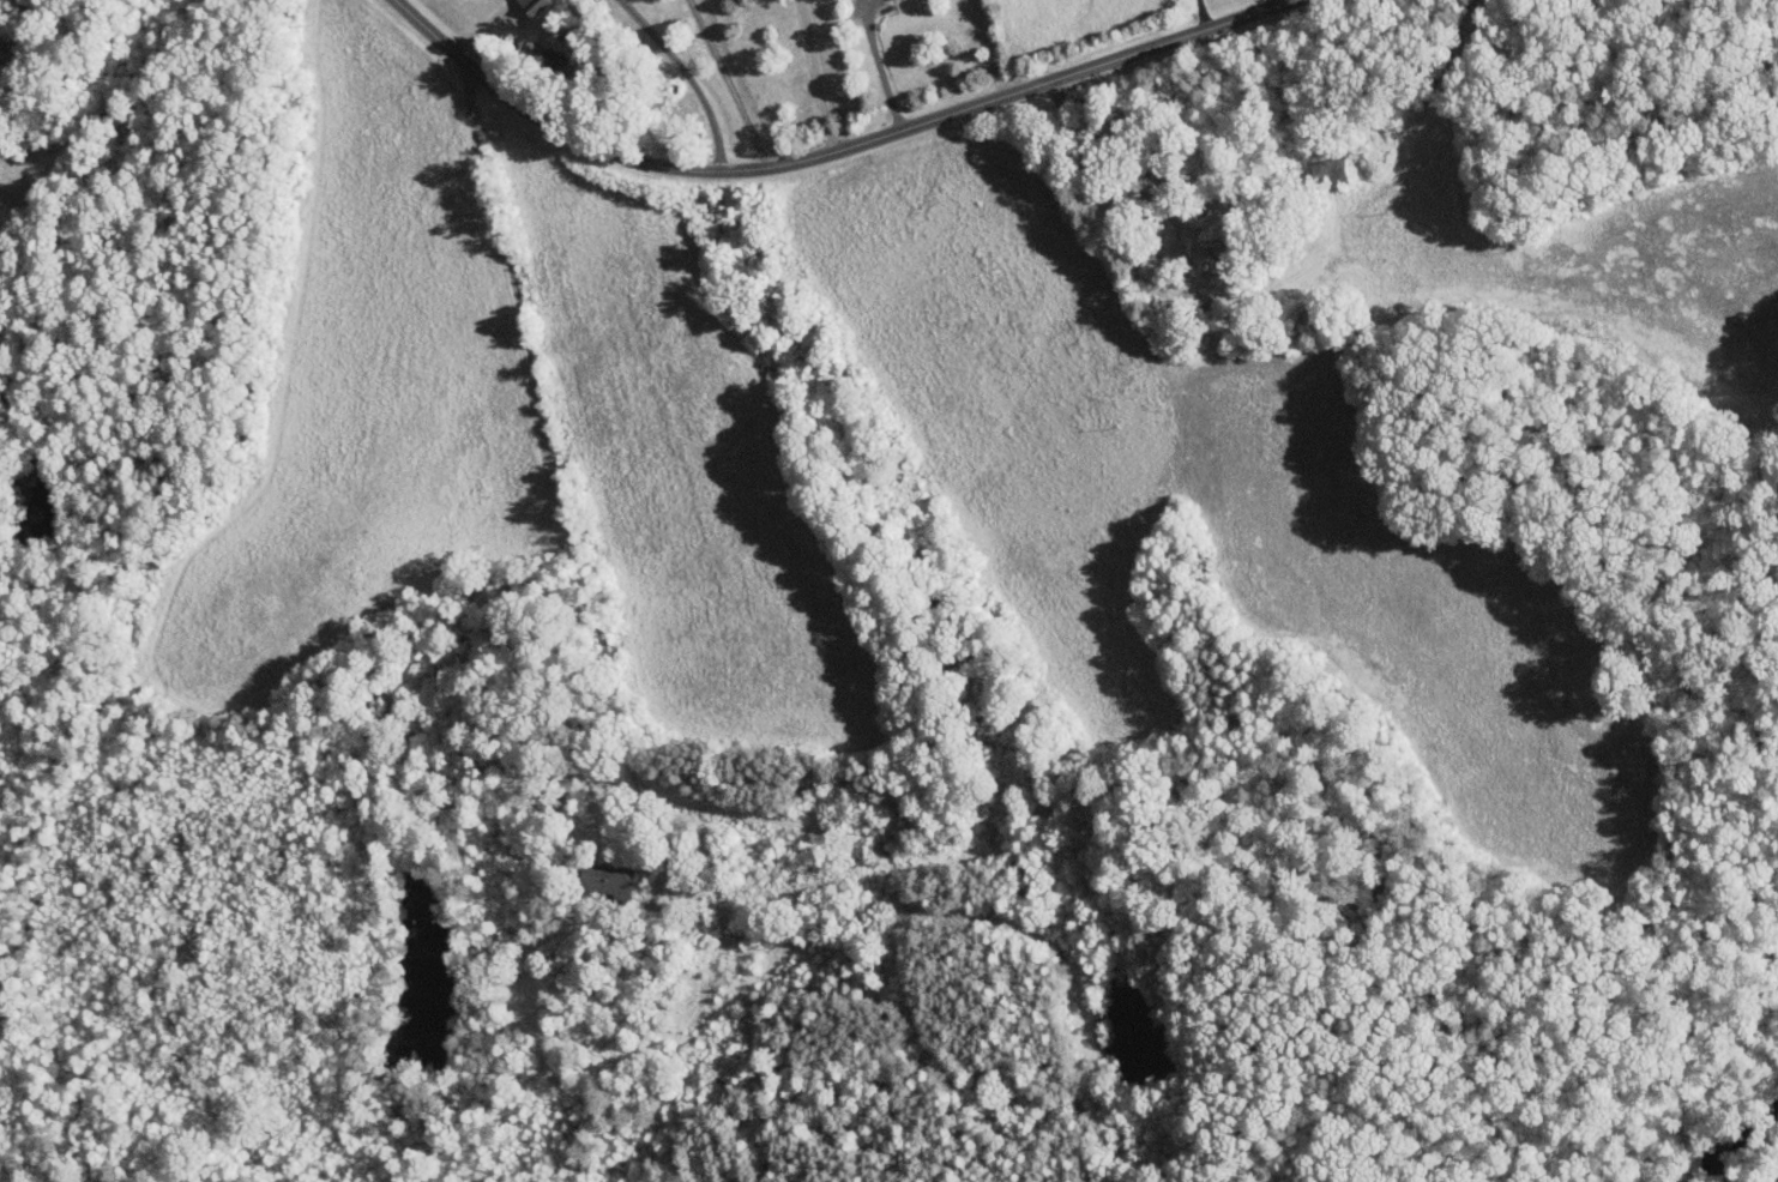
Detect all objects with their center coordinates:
road: (1289, 1)
road: (1203, 14)
road: (995, 48)
road: (882, 66)
road: (816, 76)
road: (688, 77)
road: (729, 83)
road: (831, 152)
road: (1095, 164)
building: (1330, 173)
building: (1206, 251)
road: (550, 442)
building: (605, 878)

